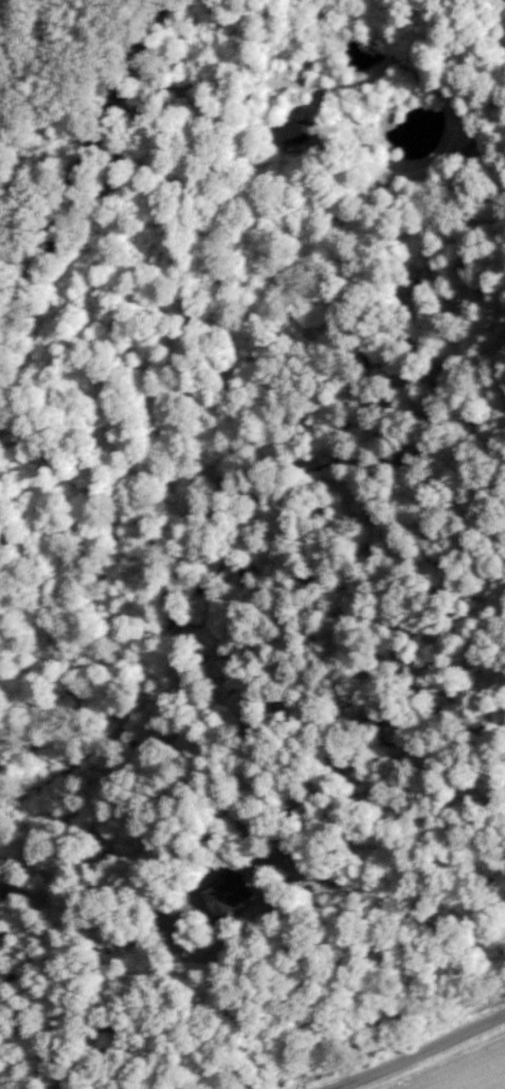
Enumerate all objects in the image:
building: (292, 130)
road: (84, 145)
building: (227, 891)
road: (246, 922)
road: (423, 1056)

